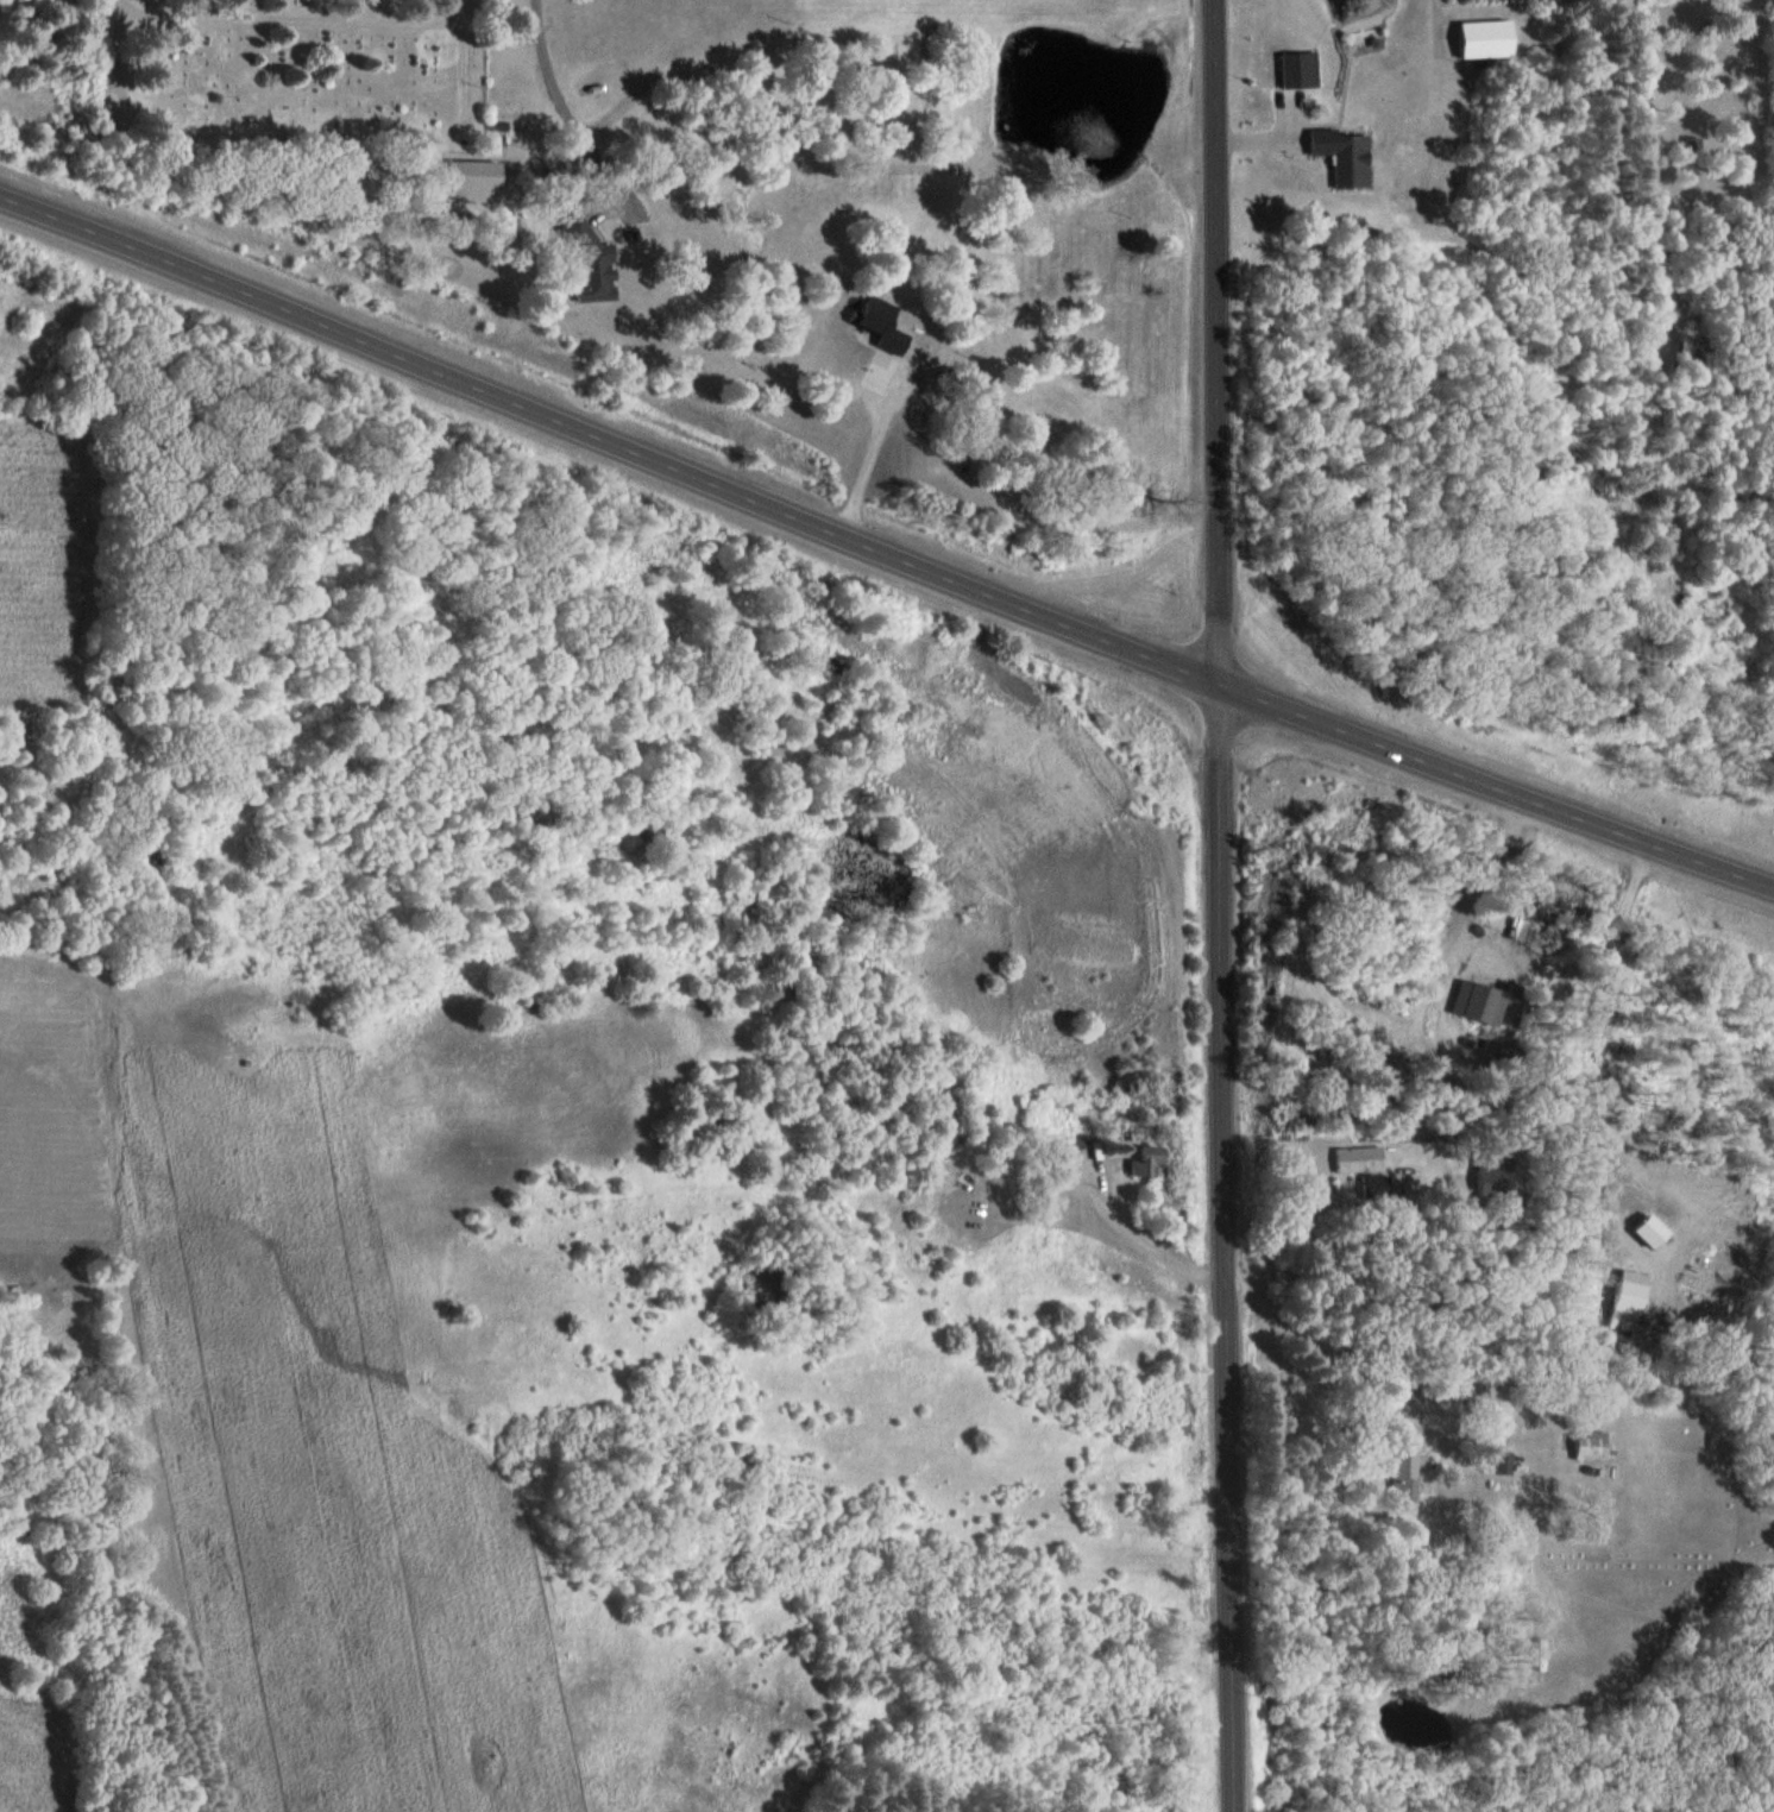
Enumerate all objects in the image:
road: (288, 23)
building: (1483, 38)
building: (1291, 70)
park: (290, 78)
building: (1690, 149)
road: (297, 151)
building: (1335, 156)
building: (464, 182)
building: (567, 237)
road: (1216, 339)
road: (883, 550)
building: (1059, 1156)
building: (1144, 1159)
building: (1358, 1165)
road: (1221, 1245)
building: (1584, 1443)
building: (1495, 1461)
building: (1395, 1481)

